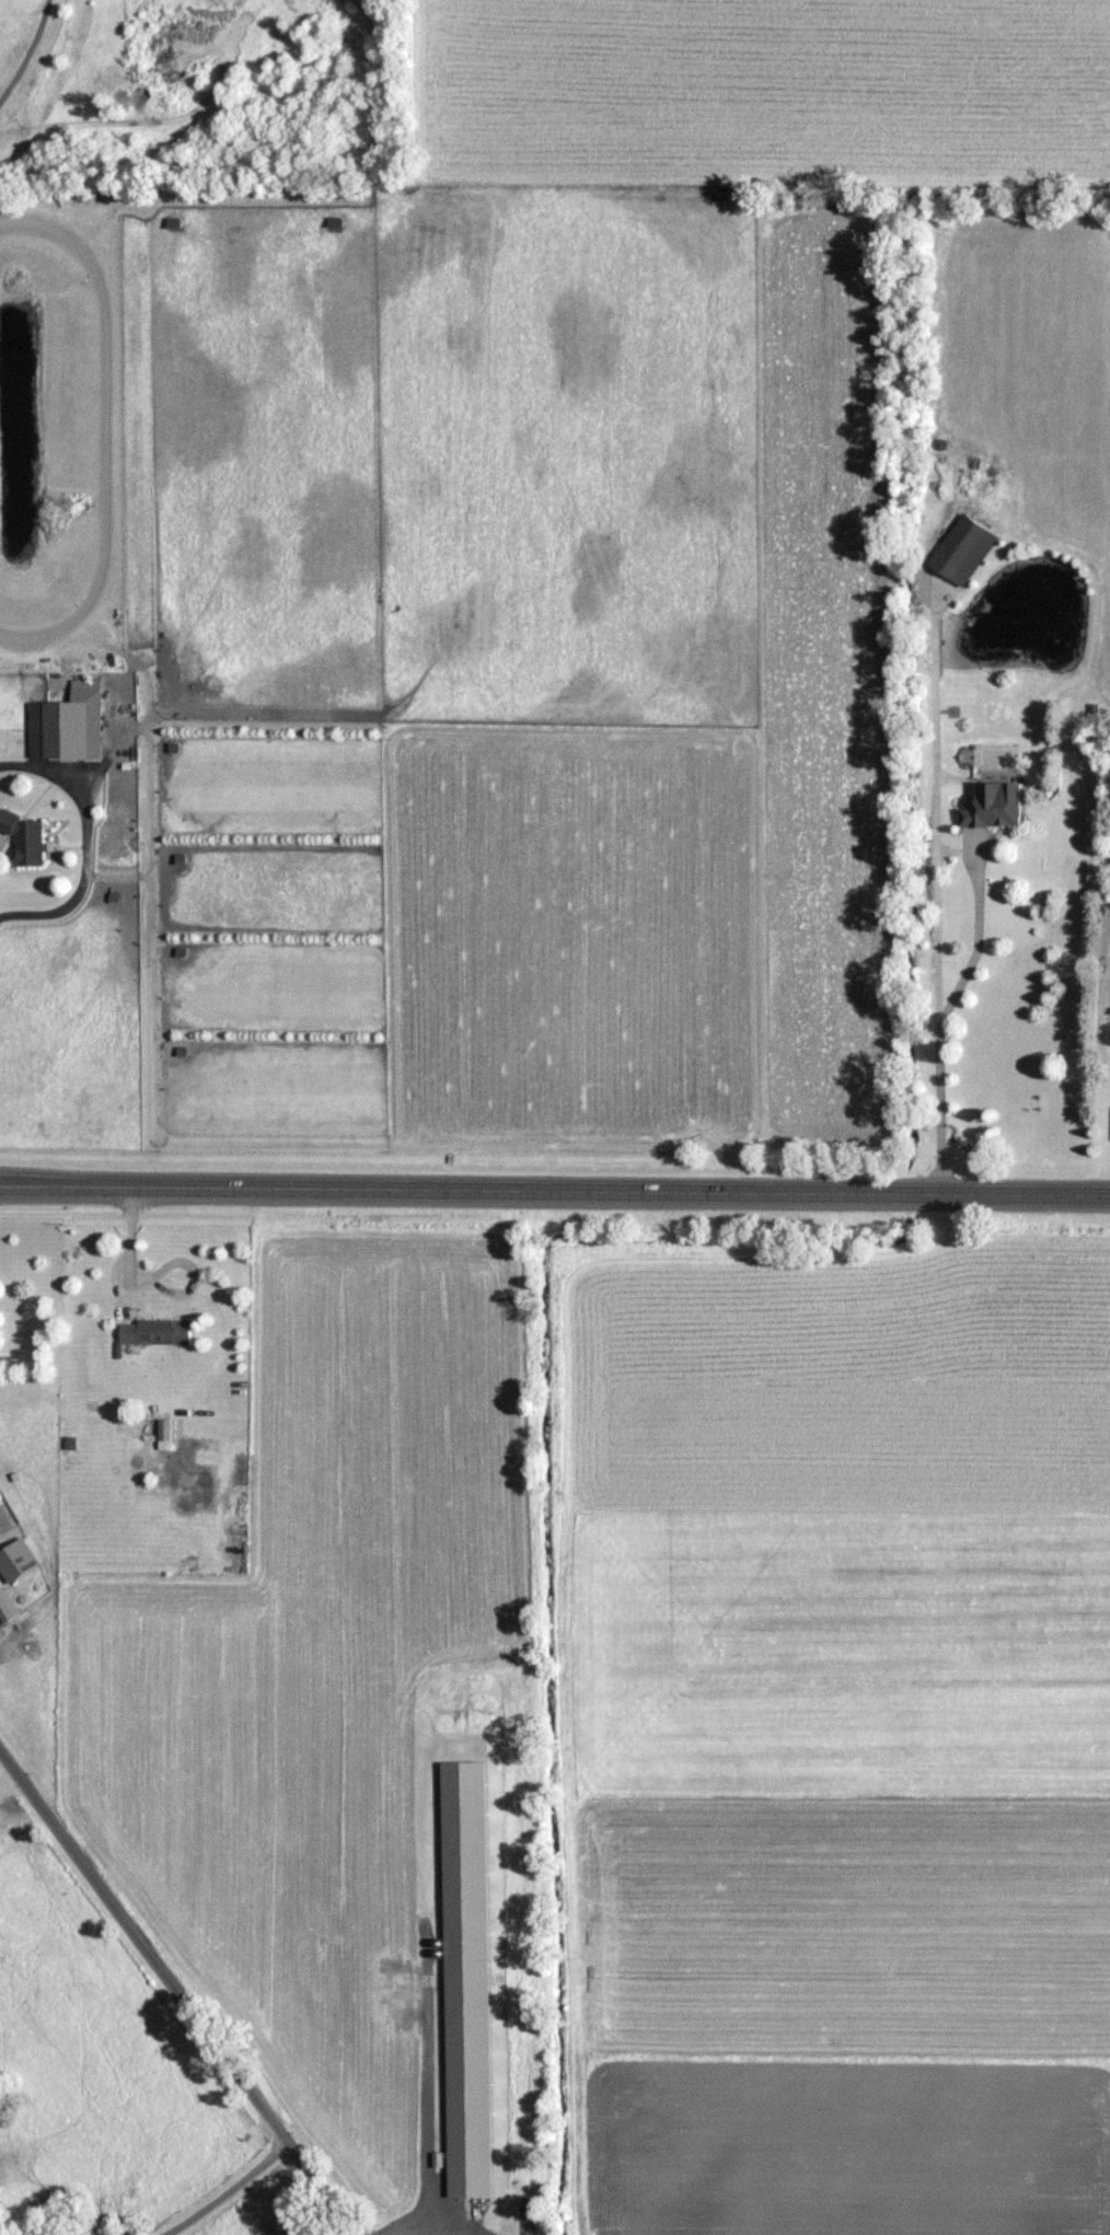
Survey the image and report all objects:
park: (48, 89)
building: (173, 221)
building: (964, 548)
building: (66, 725)
building: (995, 804)
building: (26, 837)
road: (84, 842)
road: (979, 929)
road: (934, 977)
road: (555, 1189)
road: (127, 1247)
building: (155, 1330)
building: (164, 1432)
building: (7, 1606)
road: (5, 1770)
road: (177, 1995)
road: (221, 2188)

